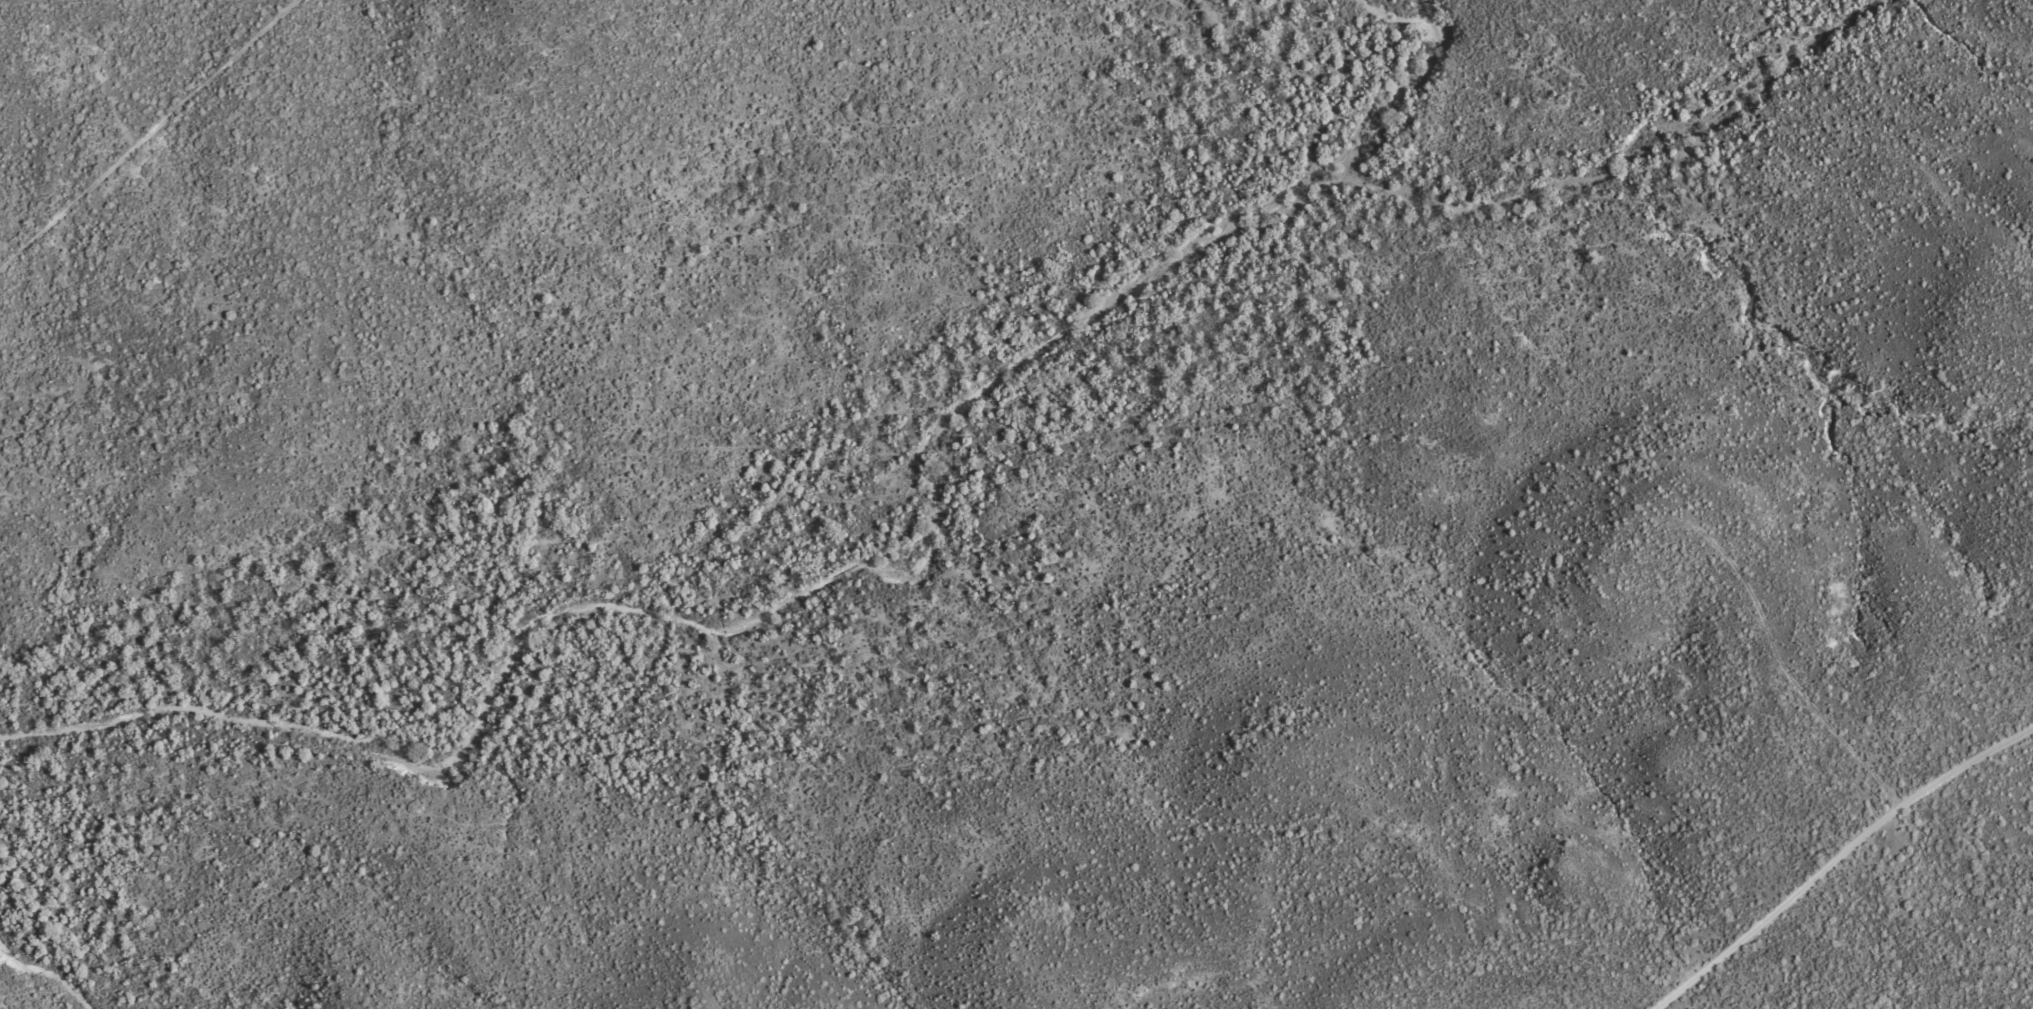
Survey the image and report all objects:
road: (1839, 857)

